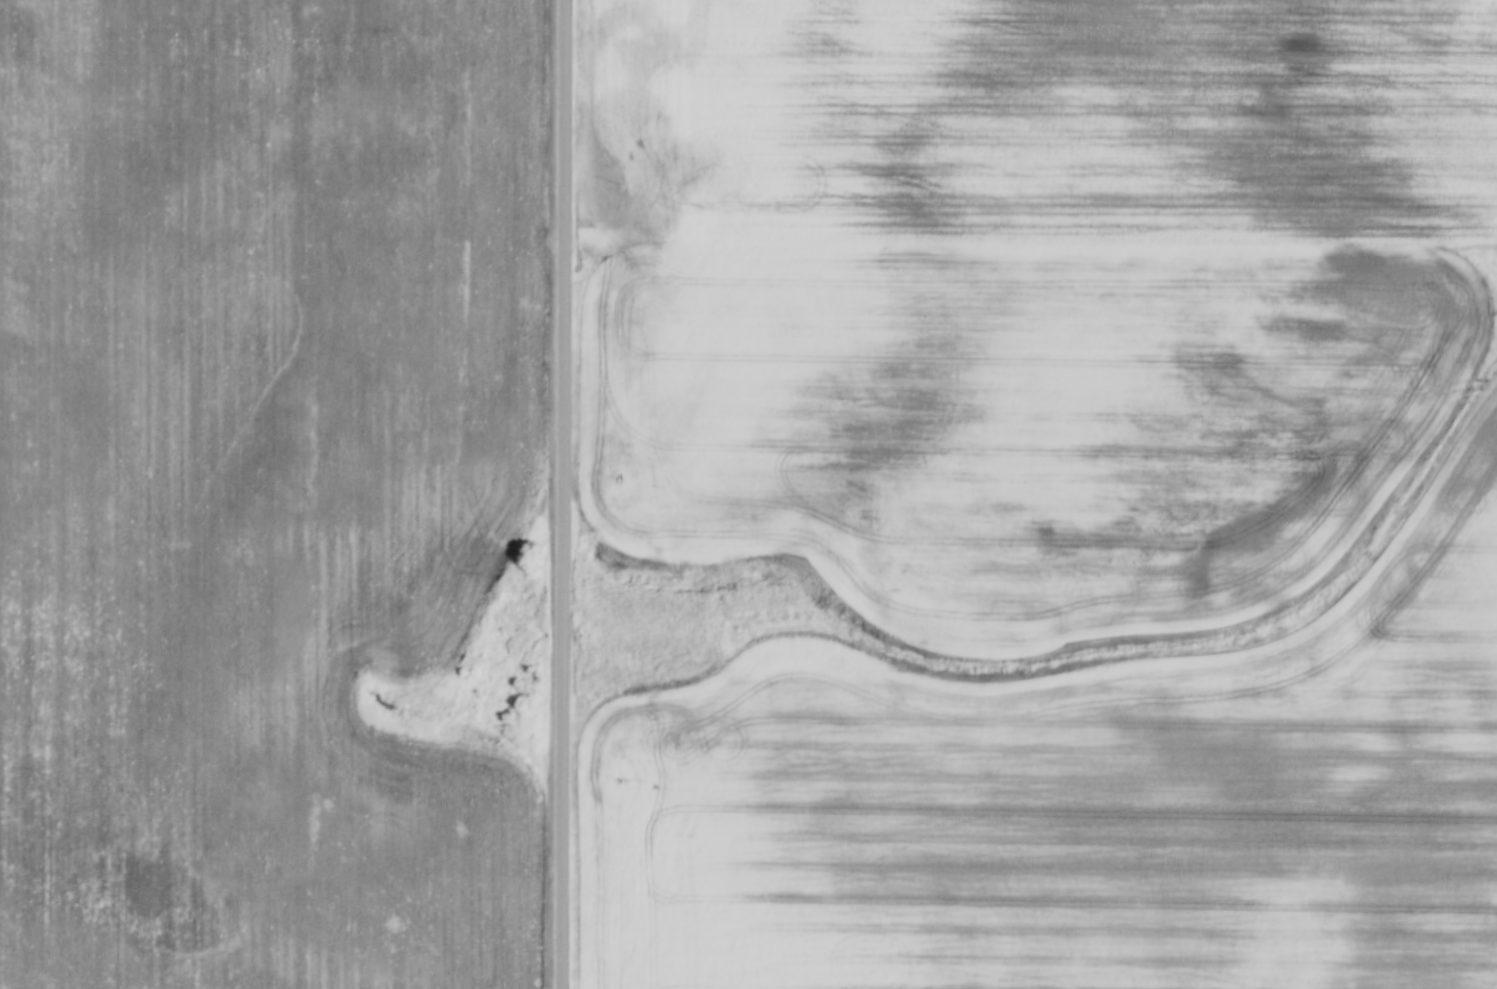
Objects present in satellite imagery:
road: (564, 494)

